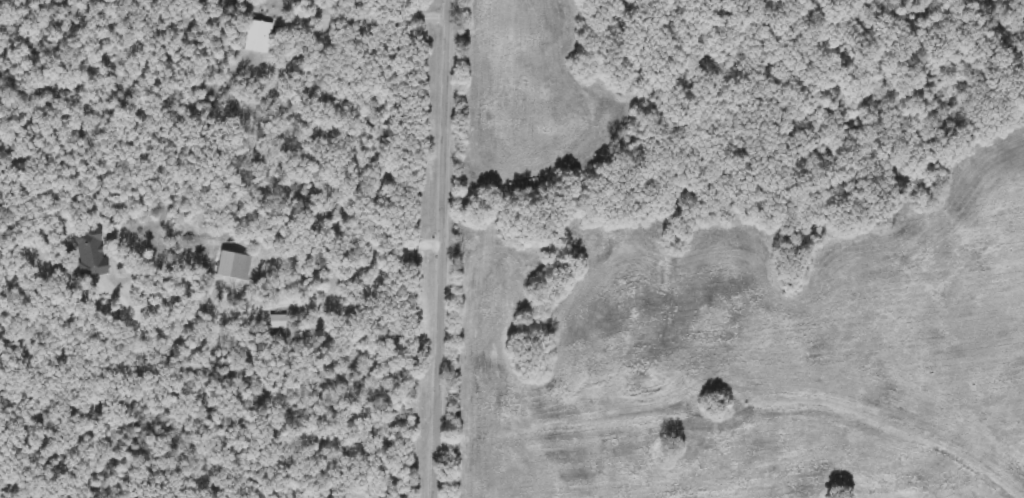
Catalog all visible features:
road: (367, 21)
building: (258, 36)
road: (445, 249)
building: (91, 253)
building: (234, 265)
road: (281, 303)

